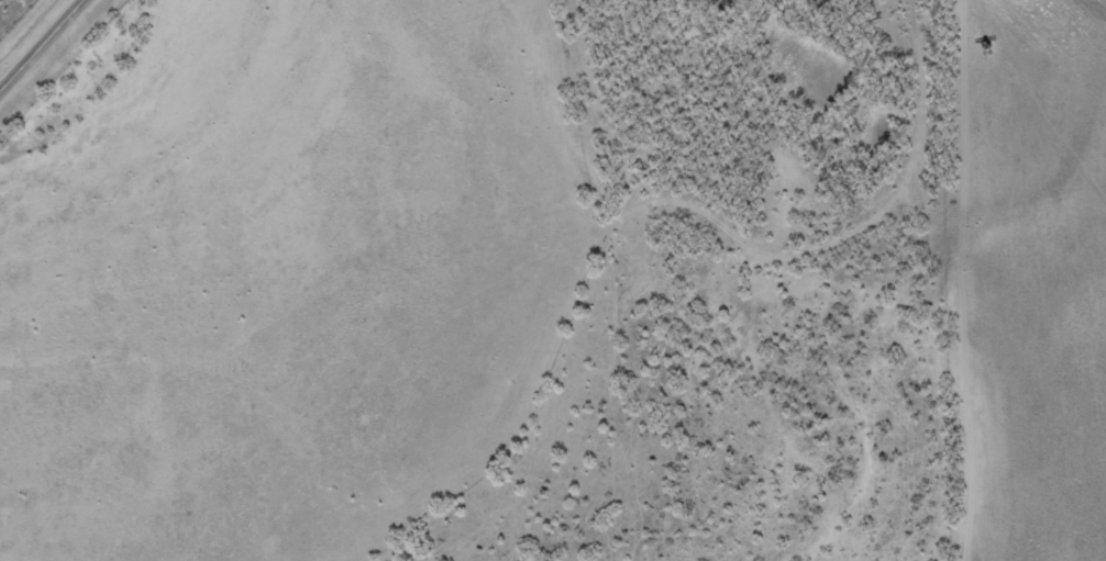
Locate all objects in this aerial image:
road: (44, 47)

